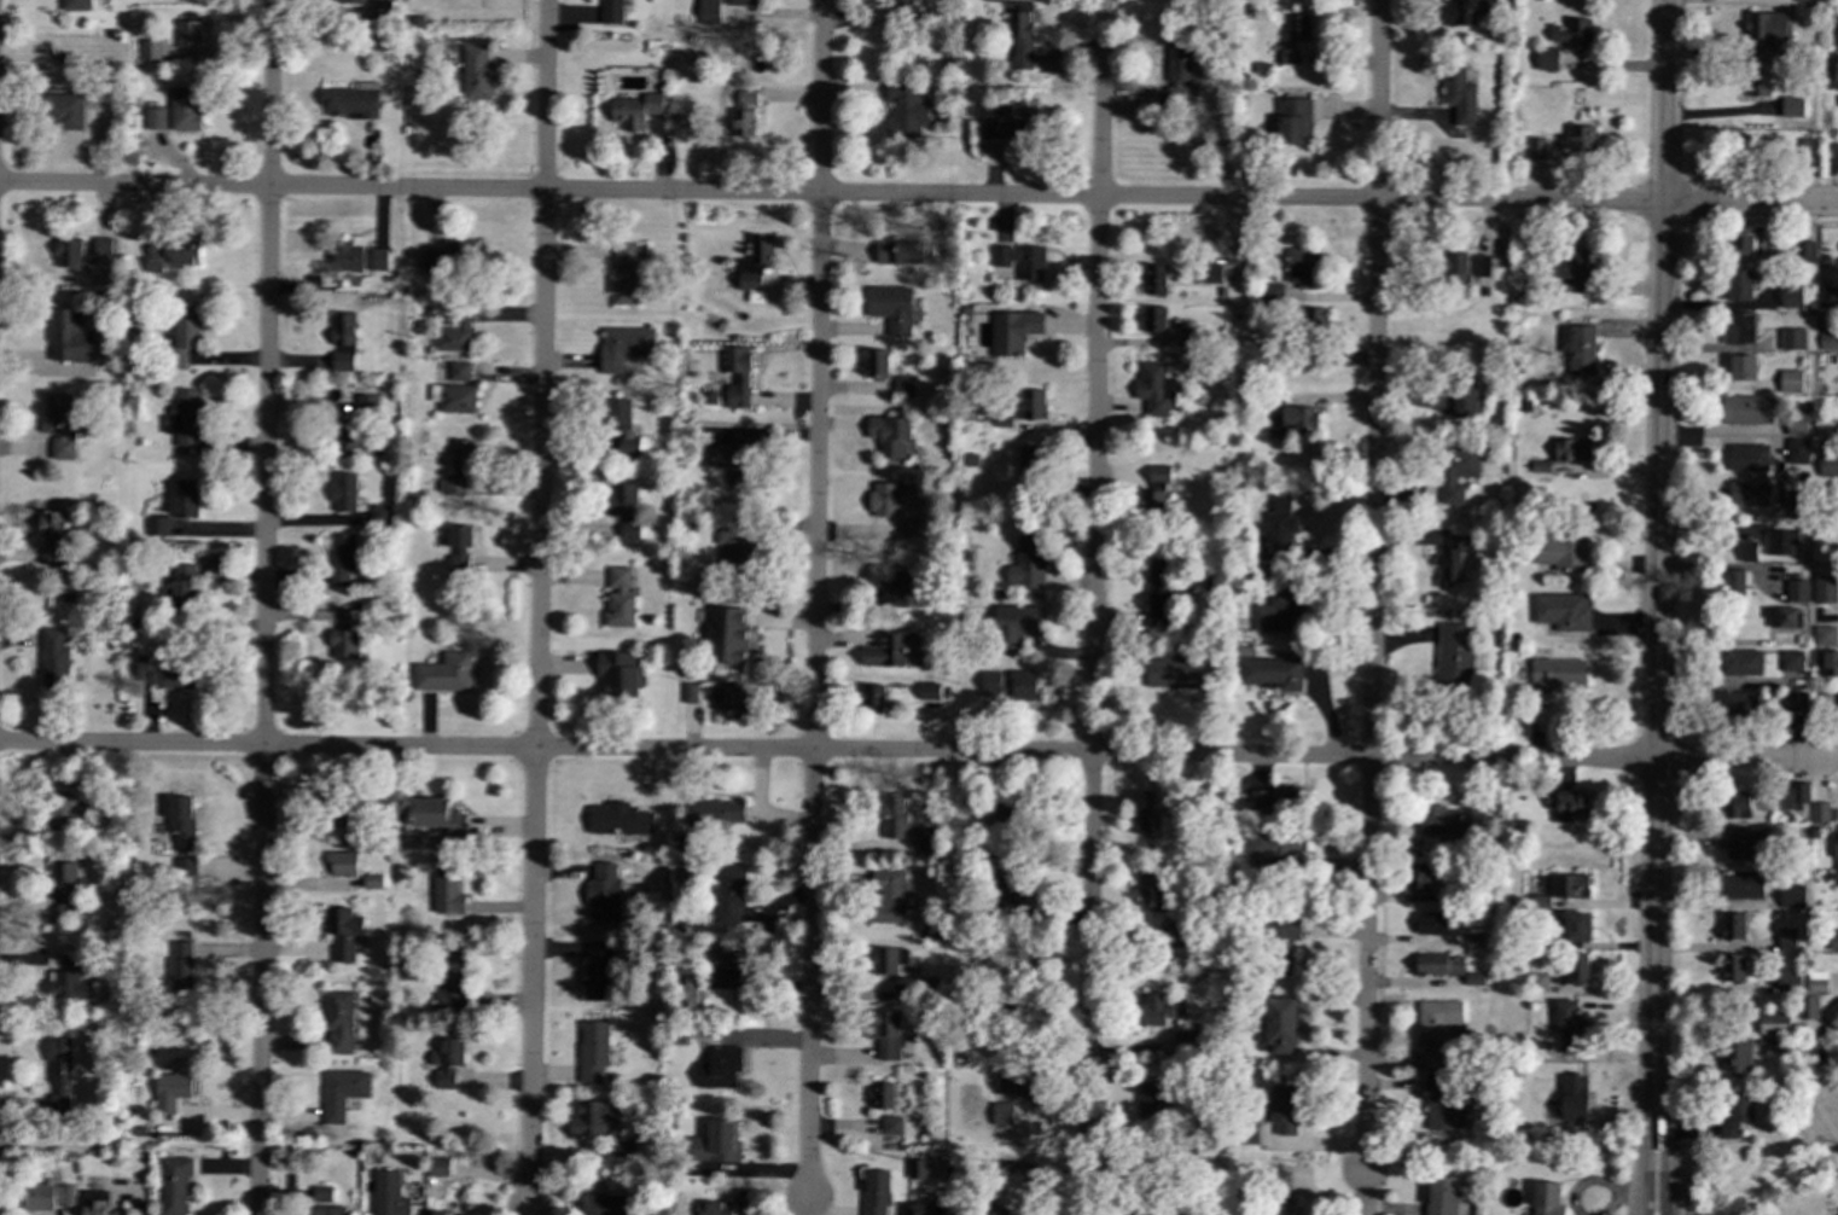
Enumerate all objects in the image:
building: (1805, 0)
building: (349, 2)
building: (739, 4)
building: (76, 6)
building: (378, 10)
building: (708, 12)
building: (611, 13)
building: (1298, 31)
building: (1766, 33)
building: (1574, 34)
building: (1019, 40)
building: (176, 45)
building: (1290, 57)
building: (1546, 59)
building: (1179, 63)
building: (1798, 64)
building: (476, 74)
building: (1757, 83)
building: (1459, 95)
road: (1663, 100)
building: (351, 101)
building: (1837, 101)
building: (1791, 106)
building: (185, 109)
building: (638, 110)
building: (65, 111)
building: (906, 111)
building: (745, 115)
building: (155, 118)
building: (1008, 121)
building: (1293, 121)
building: (1575, 143)
building: (1535, 147)
building: (1807, 149)
building: (1752, 151)
road: (831, 194)
road: (1750, 202)
building: (103, 246)
building: (1739, 246)
building: (905, 251)
building: (69, 252)
building: (1804, 254)
building: (174, 255)
building: (450, 256)
building: (357, 258)
building: (1020, 258)
building: (1825, 261)
building: (755, 262)
building: (1464, 267)
building: (1304, 268)
building: (1571, 269)
building: (623, 274)
building: (1212, 274)
building: (1156, 279)
building: (1821, 281)
building: (1739, 286)
building: (1270, 292)
building: (1792, 297)
building: (1828, 297)
building: (891, 308)
building: (1153, 319)
building: (1315, 319)
building: (1740, 330)
building: (1014, 331)
building: (184, 333)
building: (455, 333)
building: (1792, 339)
building: (1828, 341)
building: (343, 342)
building: (69, 345)
building: (623, 347)
building: (1577, 350)
building: (878, 364)
building: (1743, 368)
building: (459, 371)
building: (738, 378)
building: (1791, 382)
building: (905, 386)
building: (1154, 388)
building: (1465, 394)
building: (453, 397)
building: (368, 402)
building: (1033, 405)
building: (1746, 411)
building: (184, 417)
building: (1299, 418)
building: (1798, 420)
building: (58, 423)
building: (621, 424)
building: (347, 432)
building: (890, 435)
building: (197, 449)
building: (1572, 449)
building: (1797, 452)
building: (1749, 458)
building: (1031, 461)
building: (732, 464)
building: (1539, 466)
building: (1828, 466)
building: (460, 470)
building: (1456, 472)
building: (1790, 476)
building: (1805, 476)
building: (1154, 489)
building: (344, 492)
building: (1836, 492)
building: (1750, 494)
building: (184, 499)
building: (884, 499)
building: (1799, 506)
building: (624, 507)
building: (382, 513)
building: (1807, 525)
building: (157, 527)
building: (911, 528)
building: (1278, 531)
building: (51, 535)
building: (1779, 542)
building: (459, 548)
building: (1561, 550)
building: (1747, 552)
building: (731, 553)
building: (1820, 554)
building: (1804, 557)
building: (342, 559)
building: (1450, 560)
building: (1026, 563)
road: (1656, 571)
building: (1792, 576)
building: (185, 586)
building: (889, 586)
building: (1734, 586)
road: (1372, 587)
building: (1825, 589)
building: (1797, 592)
building: (1158, 594)
building: (618, 598)
road: (814, 598)
road: (539, 605)
road: (263, 607)
road: (1093, 607)
building: (1798, 607)
building: (1279, 611)
building: (1561, 611)
building: (1782, 617)
building: (1013, 624)
building: (728, 634)
building: (1825, 635)
building: (347, 636)
building: (886, 651)
building: (1455, 656)
building: (54, 659)
building: (1792, 662)
building: (1740, 663)
building: (1828, 664)
building: (1175, 672)
building: (444, 673)
building: (1272, 673)
building: (165, 674)
building: (1555, 674)
building: (620, 675)
building: (1011, 685)
building: (927, 691)
building: (691, 693)
building: (732, 694)
building: (872, 696)
building: (1820, 696)
building: (1793, 702)
building: (1741, 704)
road: (826, 751)
road: (1745, 761)
building: (1795, 795)
building: (1274, 801)
building: (1737, 804)
building: (1567, 806)
building: (343, 812)
building: (716, 812)
building: (1820, 814)
building: (69, 815)
building: (894, 815)
building: (1150, 815)
building: (1834, 815)
building: (620, 819)
building: (181, 821)
building: (1814, 832)
building: (929, 837)
building: (1744, 842)
building: (1269, 847)
building: (343, 864)
building: (1837, 865)
building: (1417, 877)
building: (372, 882)
building: (1570, 885)
building: (1741, 885)
building: (65, 886)
building: (1151, 890)
building: (448, 893)
building: (1020, 893)
building: (729, 894)
building: (603, 896)
building: (889, 896)
building: (1793, 896)
building: (1539, 902)
building: (1816, 913)
building: (1427, 923)
building: (1733, 926)
building: (1576, 928)
building: (343, 932)
building: (1174, 935)
building: (1787, 938)
building: (1833, 940)
building: (723, 957)
building: (889, 959)
building: (70, 963)
building: (1438, 964)
building: (181, 966)
building: (1733, 967)
building: (1577, 969)
building: (598, 970)
building: (452, 978)
building: (1472, 978)
building: (1536, 982)
building: (1790, 982)
building: (1817, 983)
building: (69, 986)
building: (688, 993)
building: (1808, 1007)
building: (1158, 1010)
building: (1832, 1015)
building: (339, 1021)
building: (1280, 1024)
building: (1774, 1024)
building: (1435, 1025)
building: (1569, 1027)
building: (885, 1034)
building: (1773, 1041)
building: (1791, 1050)
building: (594, 1052)
building: (1735, 1057)
building: (447, 1059)
building: (720, 1068)
building: (60, 1076)
road: (1659, 1077)
road: (1646, 1079)
building: (1017, 1081)
building: (171, 1091)
building: (342, 1092)
building: (883, 1095)
building: (1572, 1098)
building: (1150, 1103)
building: (1441, 1104)
building: (1281, 1109)
building: (1002, 1114)
building: (1735, 1115)
road: (1832, 1118)
building: (591, 1120)
building: (891, 1124)
road: (1832, 1128)
building: (716, 1143)
building: (623, 1146)
building: (438, 1167)
road: (1787, 1168)
building: (917, 1169)
building: (174, 1184)
building: (876, 1192)
road: (1375, 1193)
building: (389, 1194)
building: (1441, 1194)
building: (46, 1196)
building: (743, 1198)
building: (1546, 1198)
building: (95, 1202)
building: (325, 1202)
building: (606, 1204)
road: (807, 1207)
building: (719, 1208)
building: (925, 1209)
building: (1278, 1209)
building: (440, 1213)
building: (1000, 1213)
building: (1167, 1213)
road: (529, 1214)

